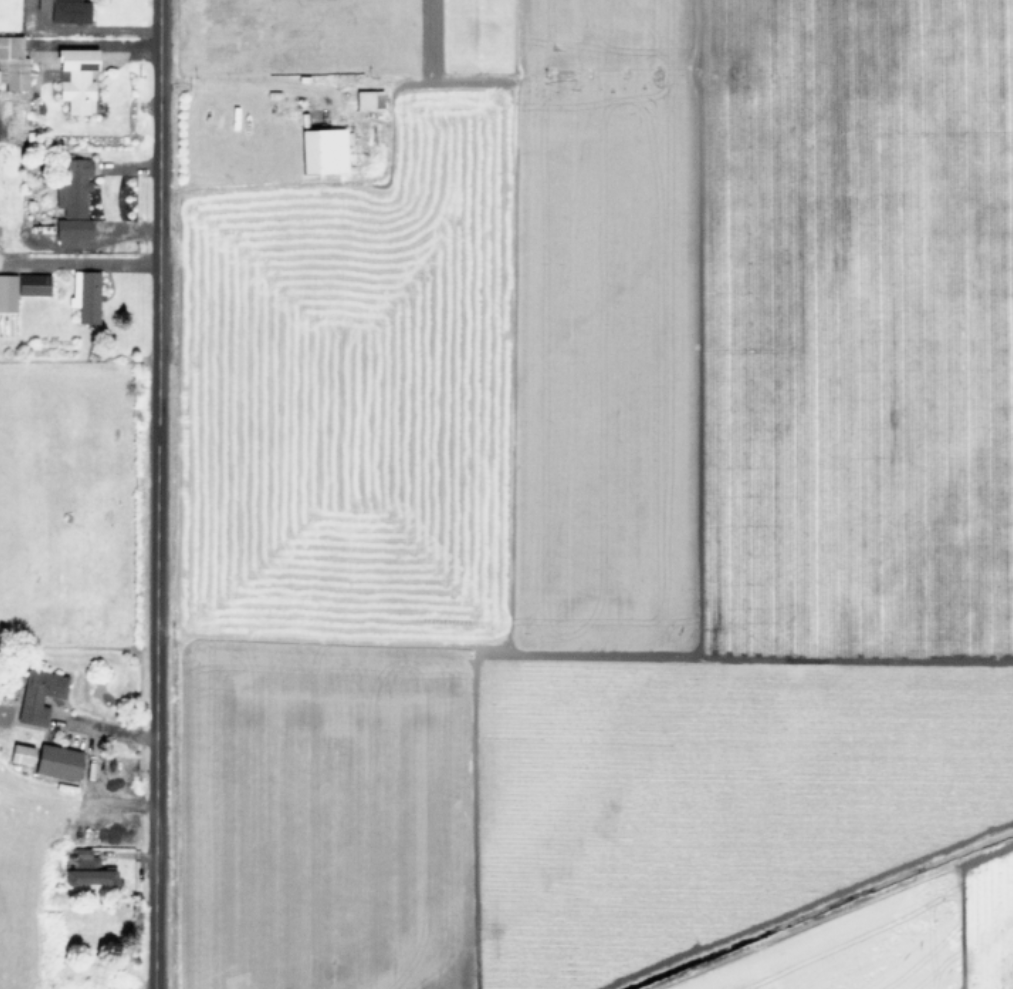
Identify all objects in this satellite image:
building: (42, 4)
building: (69, 11)
road: (92, 43)
building: (12, 63)
building: (76, 79)
building: (368, 99)
building: (324, 149)
building: (73, 199)
road: (93, 242)
road: (82, 261)
building: (21, 288)
building: (85, 295)
crop: (61, 474)
road: (155, 494)
crop: (607, 497)
building: (38, 694)
building: (57, 761)
road: (89, 762)
building: (84, 868)

